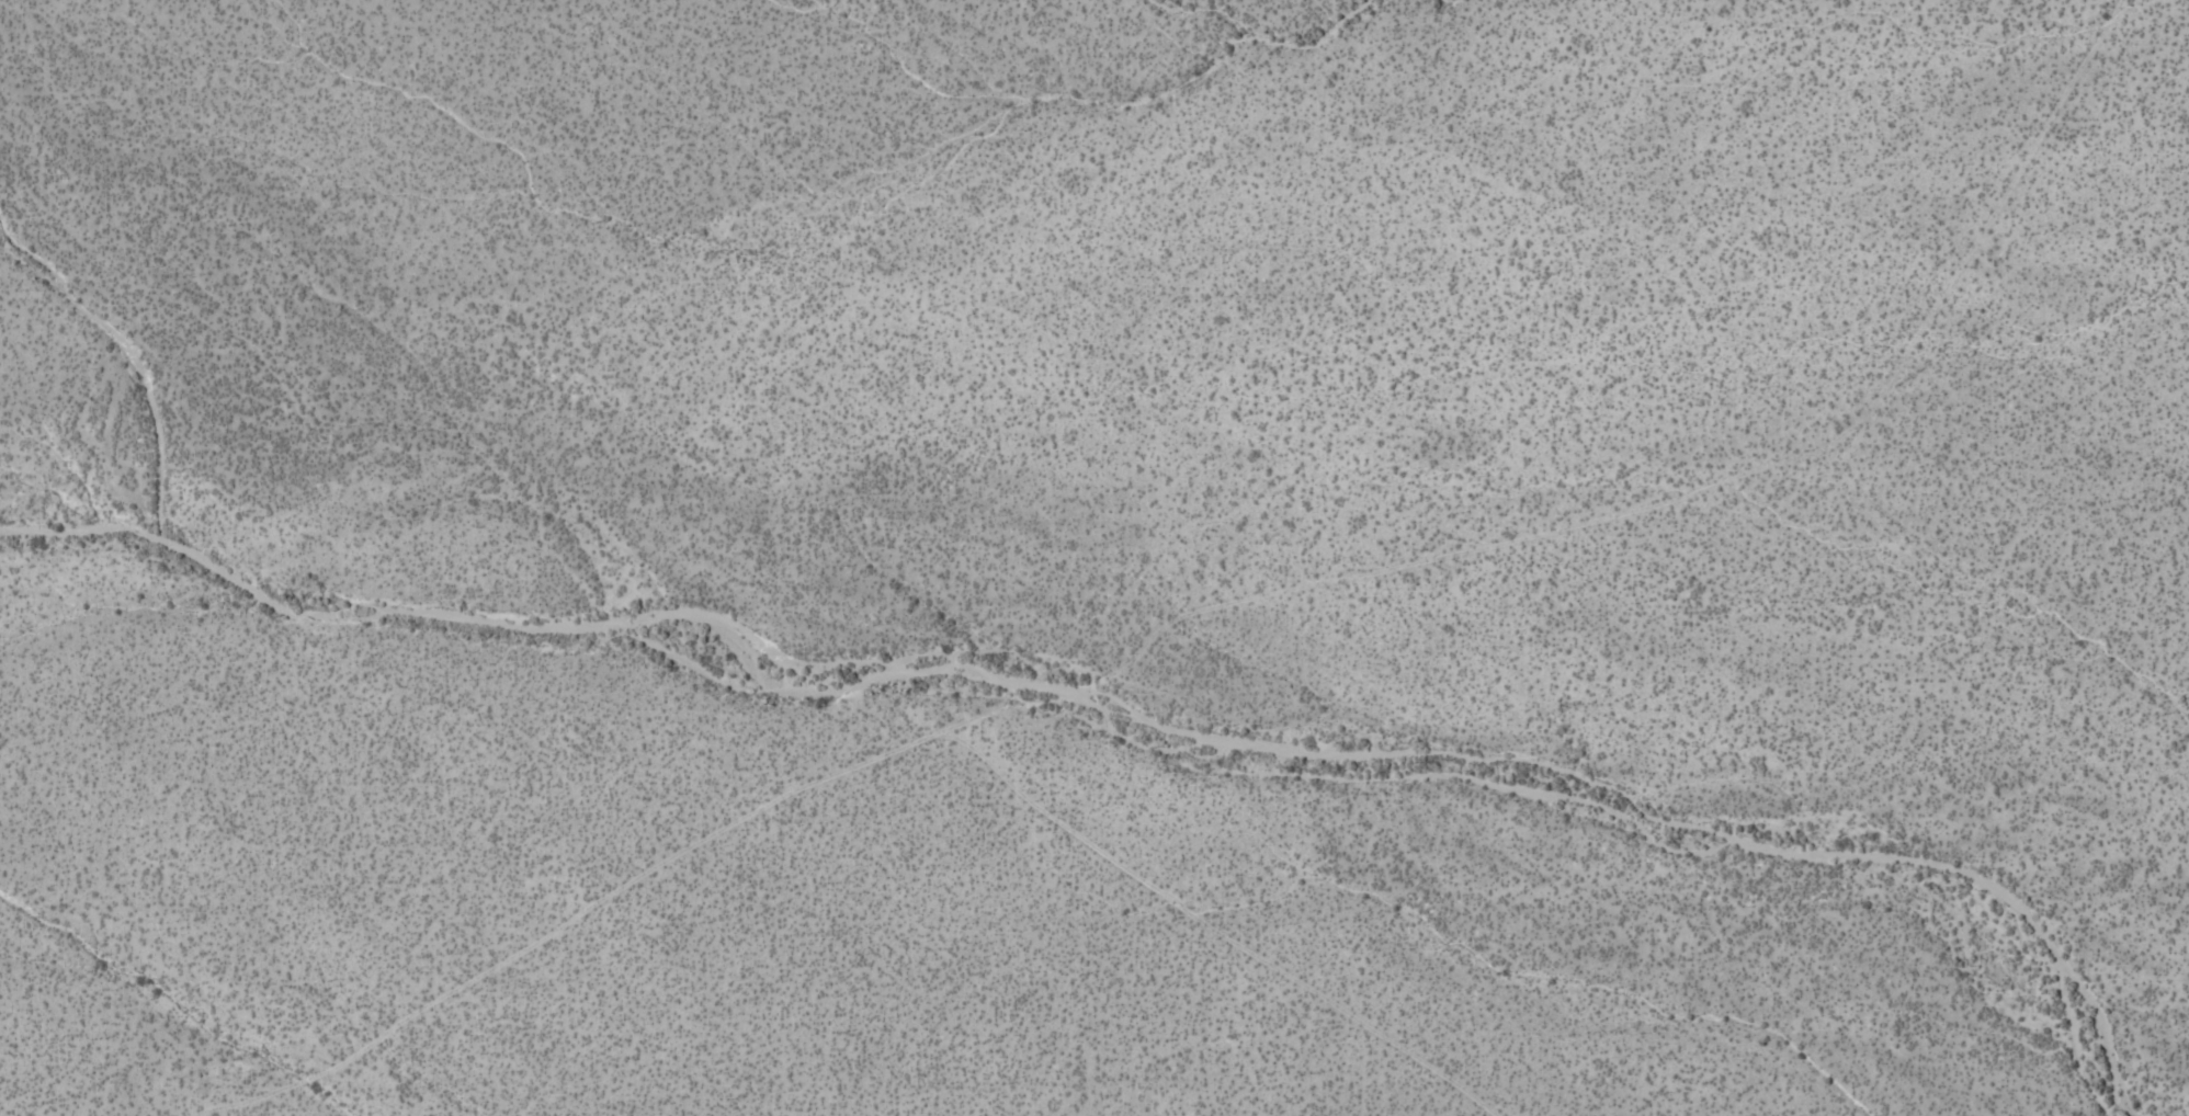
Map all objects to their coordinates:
road: (1205, 548)

